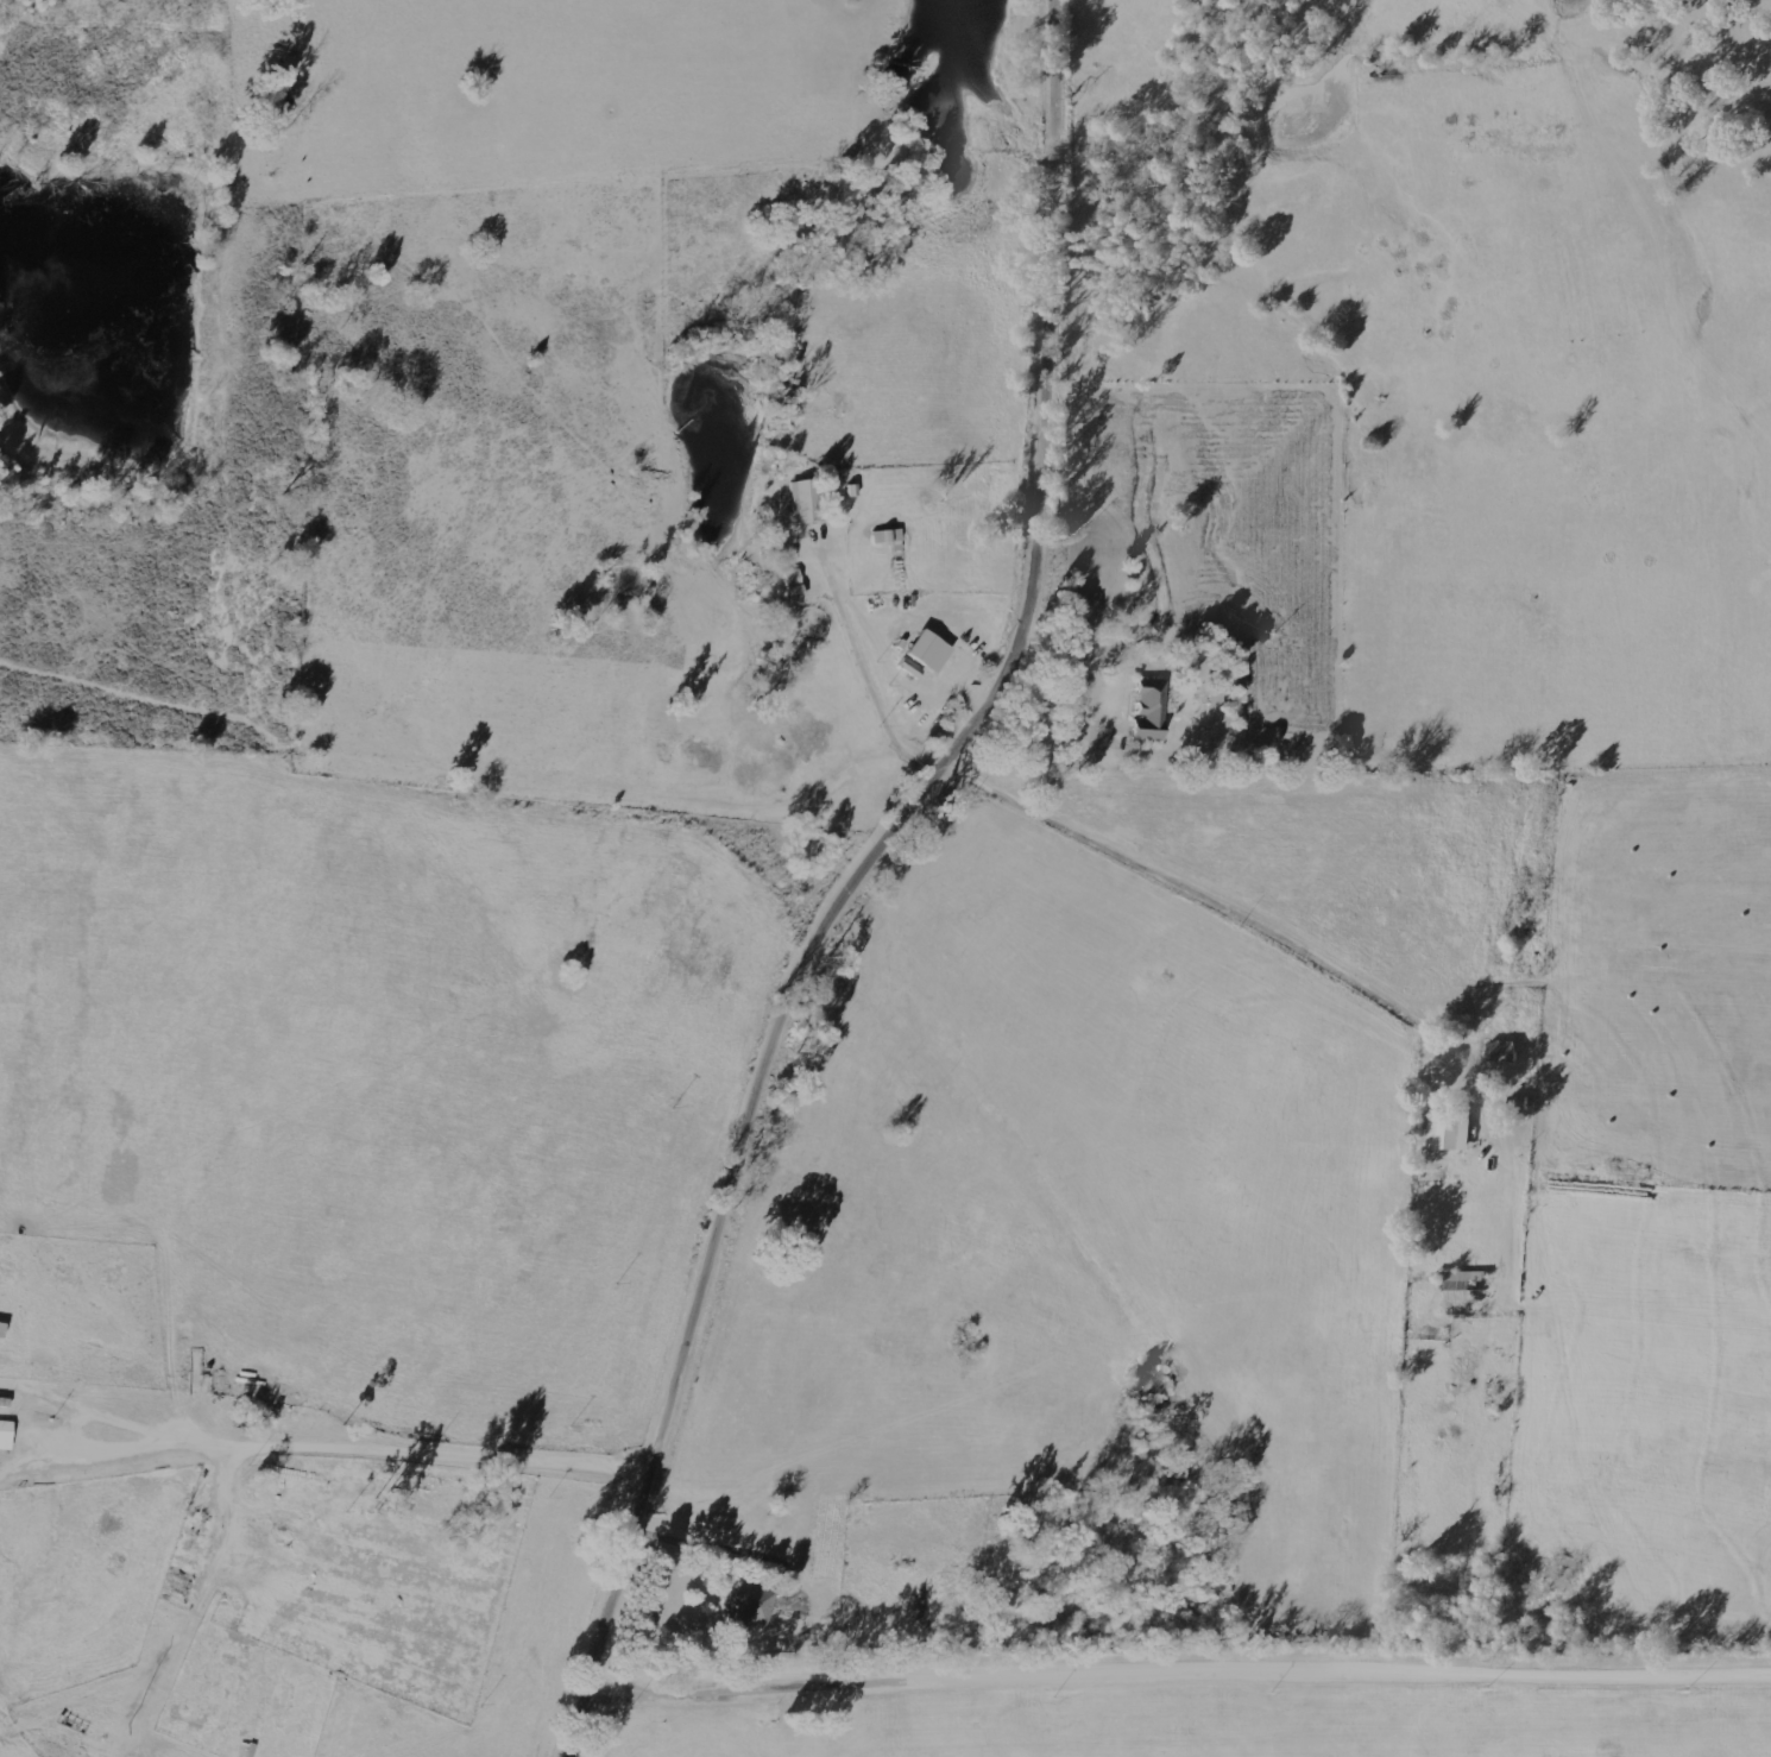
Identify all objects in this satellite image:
road: (1045, 398)
building: (806, 500)
building: (885, 536)
building: (792, 585)
building: (927, 651)
building: (908, 668)
road: (862, 675)
road: (1054, 709)
building: (1148, 712)
building: (1451, 1131)
road: (710, 1245)
building: (1463, 1284)
building: (5, 1434)
building: (748, 1606)
road: (1177, 1676)

